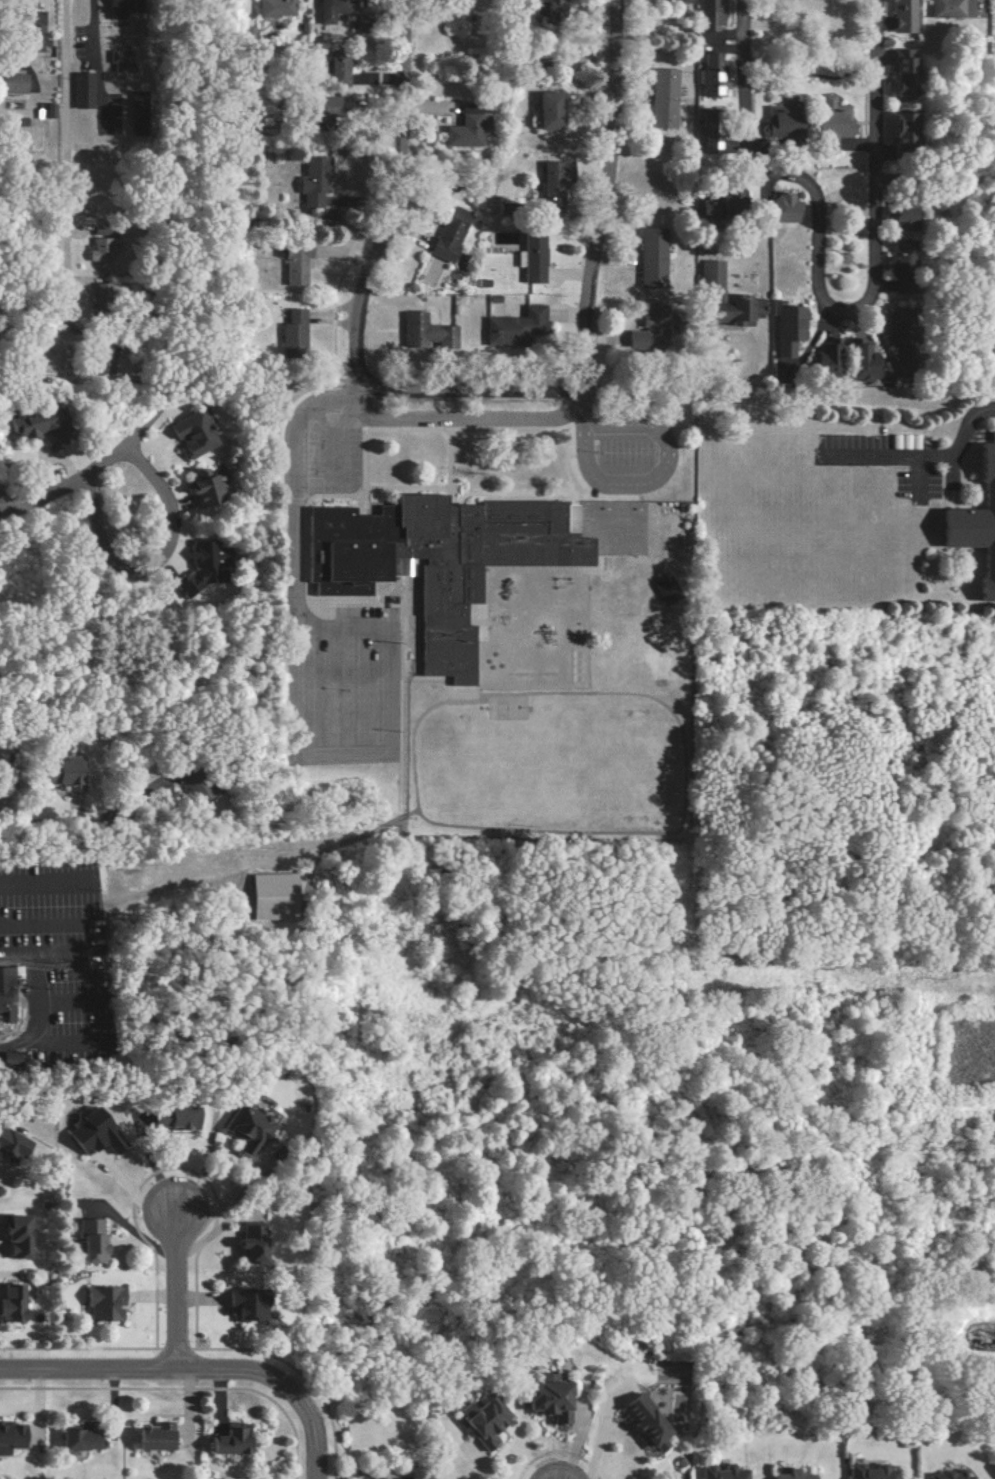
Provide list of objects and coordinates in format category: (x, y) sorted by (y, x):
building: (675, 1)
building: (271, 8)
building: (547, 8)
building: (947, 8)
building: (326, 10)
building: (705, 15)
building: (899, 16)
road: (15, 28)
building: (31, 30)
building: (244, 33)
road: (93, 59)
building: (115, 61)
building: (336, 69)
building: (11, 83)
building: (78, 90)
building: (658, 98)
building: (321, 110)
building: (544, 110)
building: (779, 119)
building: (827, 124)
building: (897, 128)
building: (464, 129)
building: (708, 145)
building: (311, 181)
building: (550, 183)
road: (63, 185)
road: (603, 191)
road: (393, 201)
building: (774, 209)
building: (897, 217)
building: (444, 233)
building: (98, 249)
building: (528, 256)
building: (646, 258)
building: (897, 262)
building: (293, 265)
building: (722, 297)
road: (825, 298)
building: (511, 327)
building: (645, 329)
building: (784, 330)
building: (422, 332)
building: (289, 333)
building: (823, 359)
building: (858, 361)
road: (577, 417)
road: (471, 418)
building: (31, 423)
building: (186, 434)
road: (979, 435)
road: (993, 436)
parking lot: (314, 445)
road: (928, 456)
road: (955, 469)
road: (656, 472)
road: (66, 482)
building: (198, 487)
building: (976, 521)
road: (290, 548)
building: (439, 560)
road: (154, 564)
building: (195, 567)
parking lot: (347, 687)
building: (58, 771)
building: (191, 790)
road: (47, 818)
building: (267, 893)
road: (11, 953)
road: (335, 988)
building: (4, 995)
road: (36, 1012)
building: (7, 1060)
building: (169, 1118)
building: (246, 1129)
building: (89, 1133)
building: (9, 1144)
road: (126, 1228)
building: (11, 1236)
building: (88, 1241)
building: (247, 1243)
road: (173, 1288)
building: (100, 1304)
building: (242, 1304)
road: (194, 1368)
building: (544, 1398)
building: (481, 1420)
building: (641, 1423)
building: (9, 1437)
building: (149, 1437)
building: (74, 1440)
building: (226, 1440)
building: (867, 1472)
building: (721, 1473)
building: (791, 1475)
building: (946, 1475)

